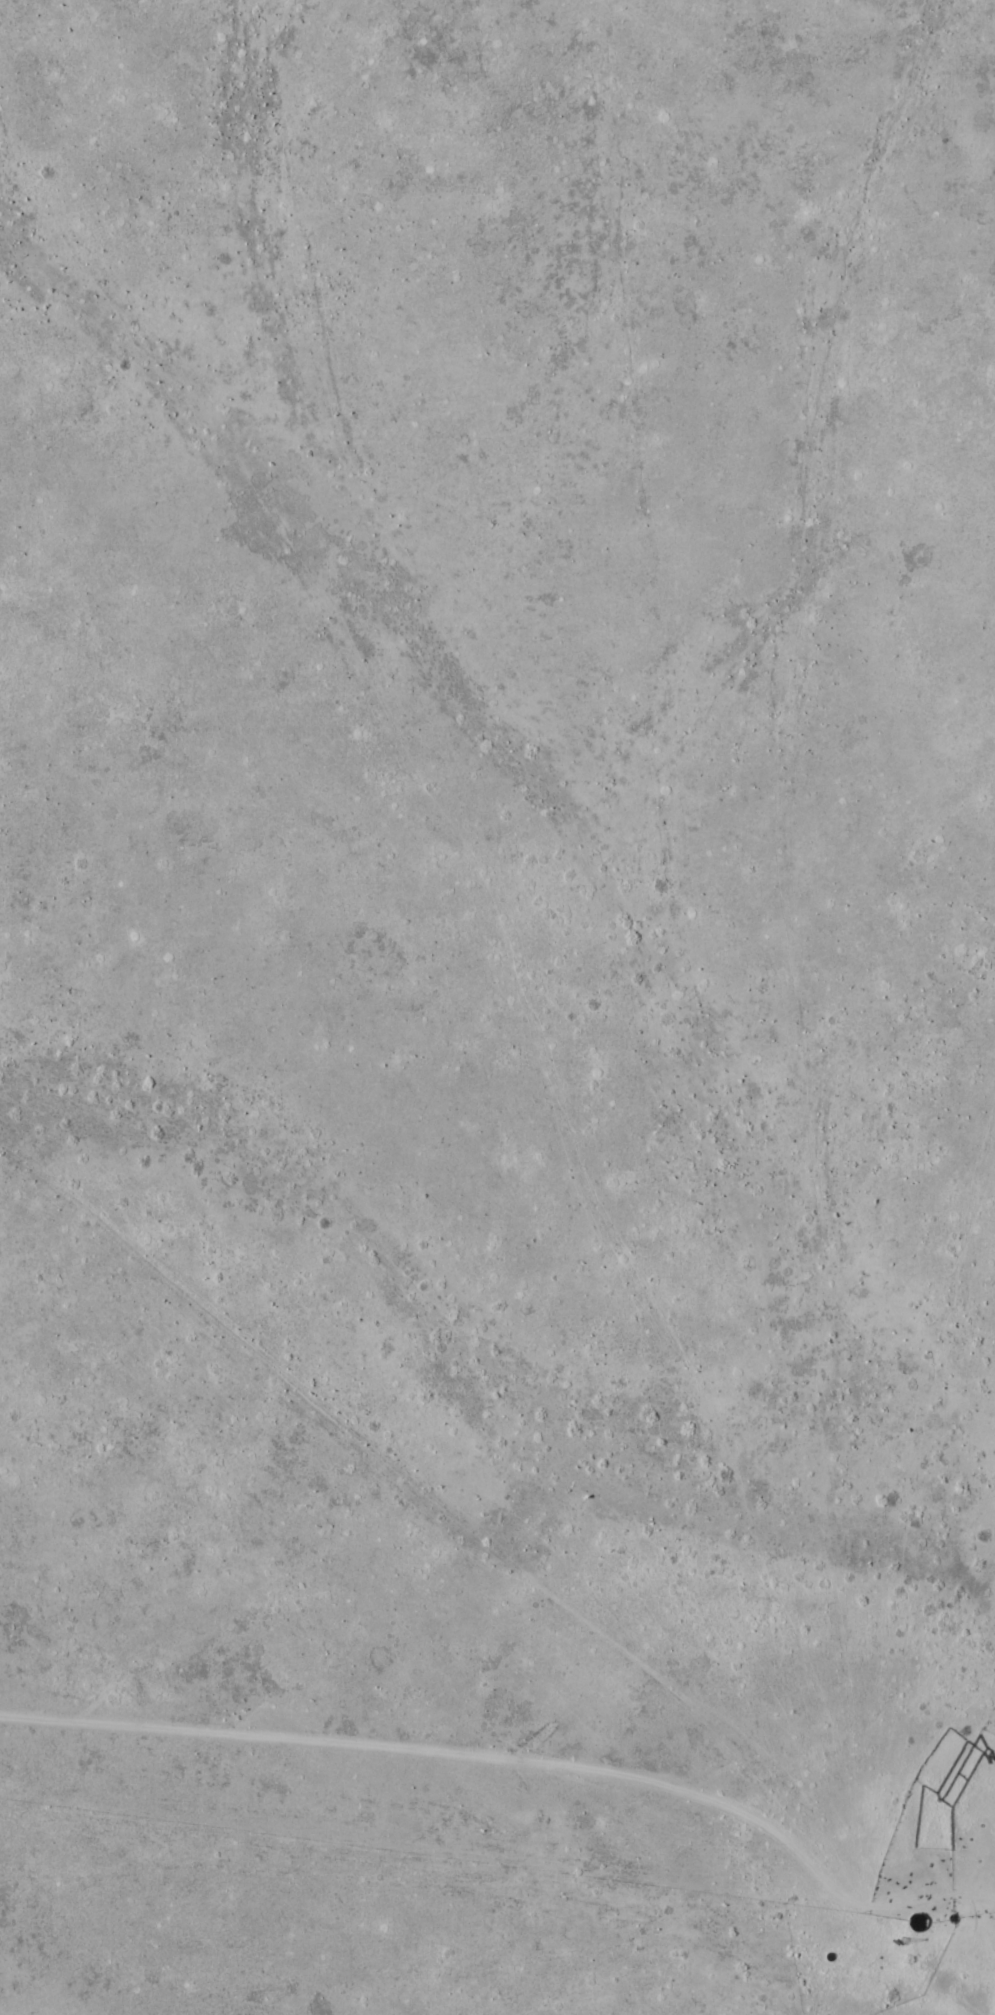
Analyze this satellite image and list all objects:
road: (986, 1907)
building: (917, 1921)
storage tank: (917, 1921)

